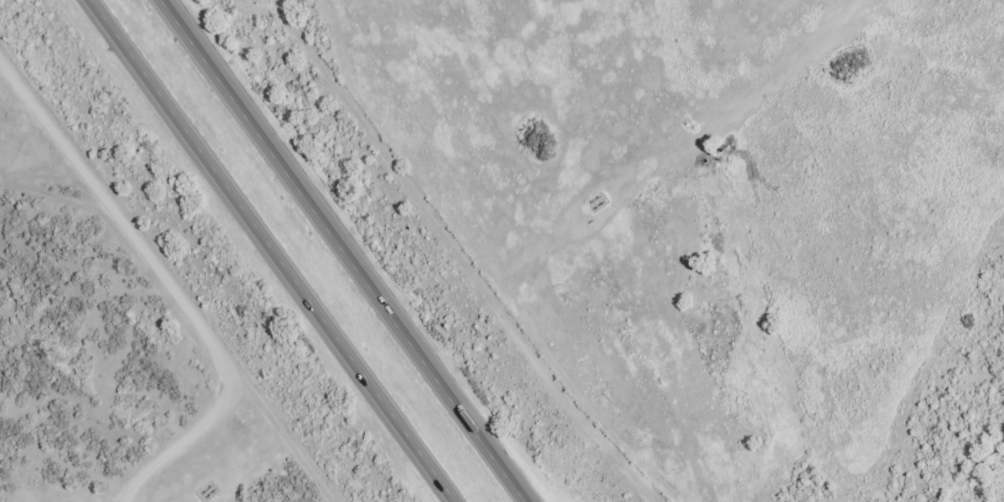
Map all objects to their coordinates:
road: (276, 250)
road: (348, 251)
road: (171, 285)

